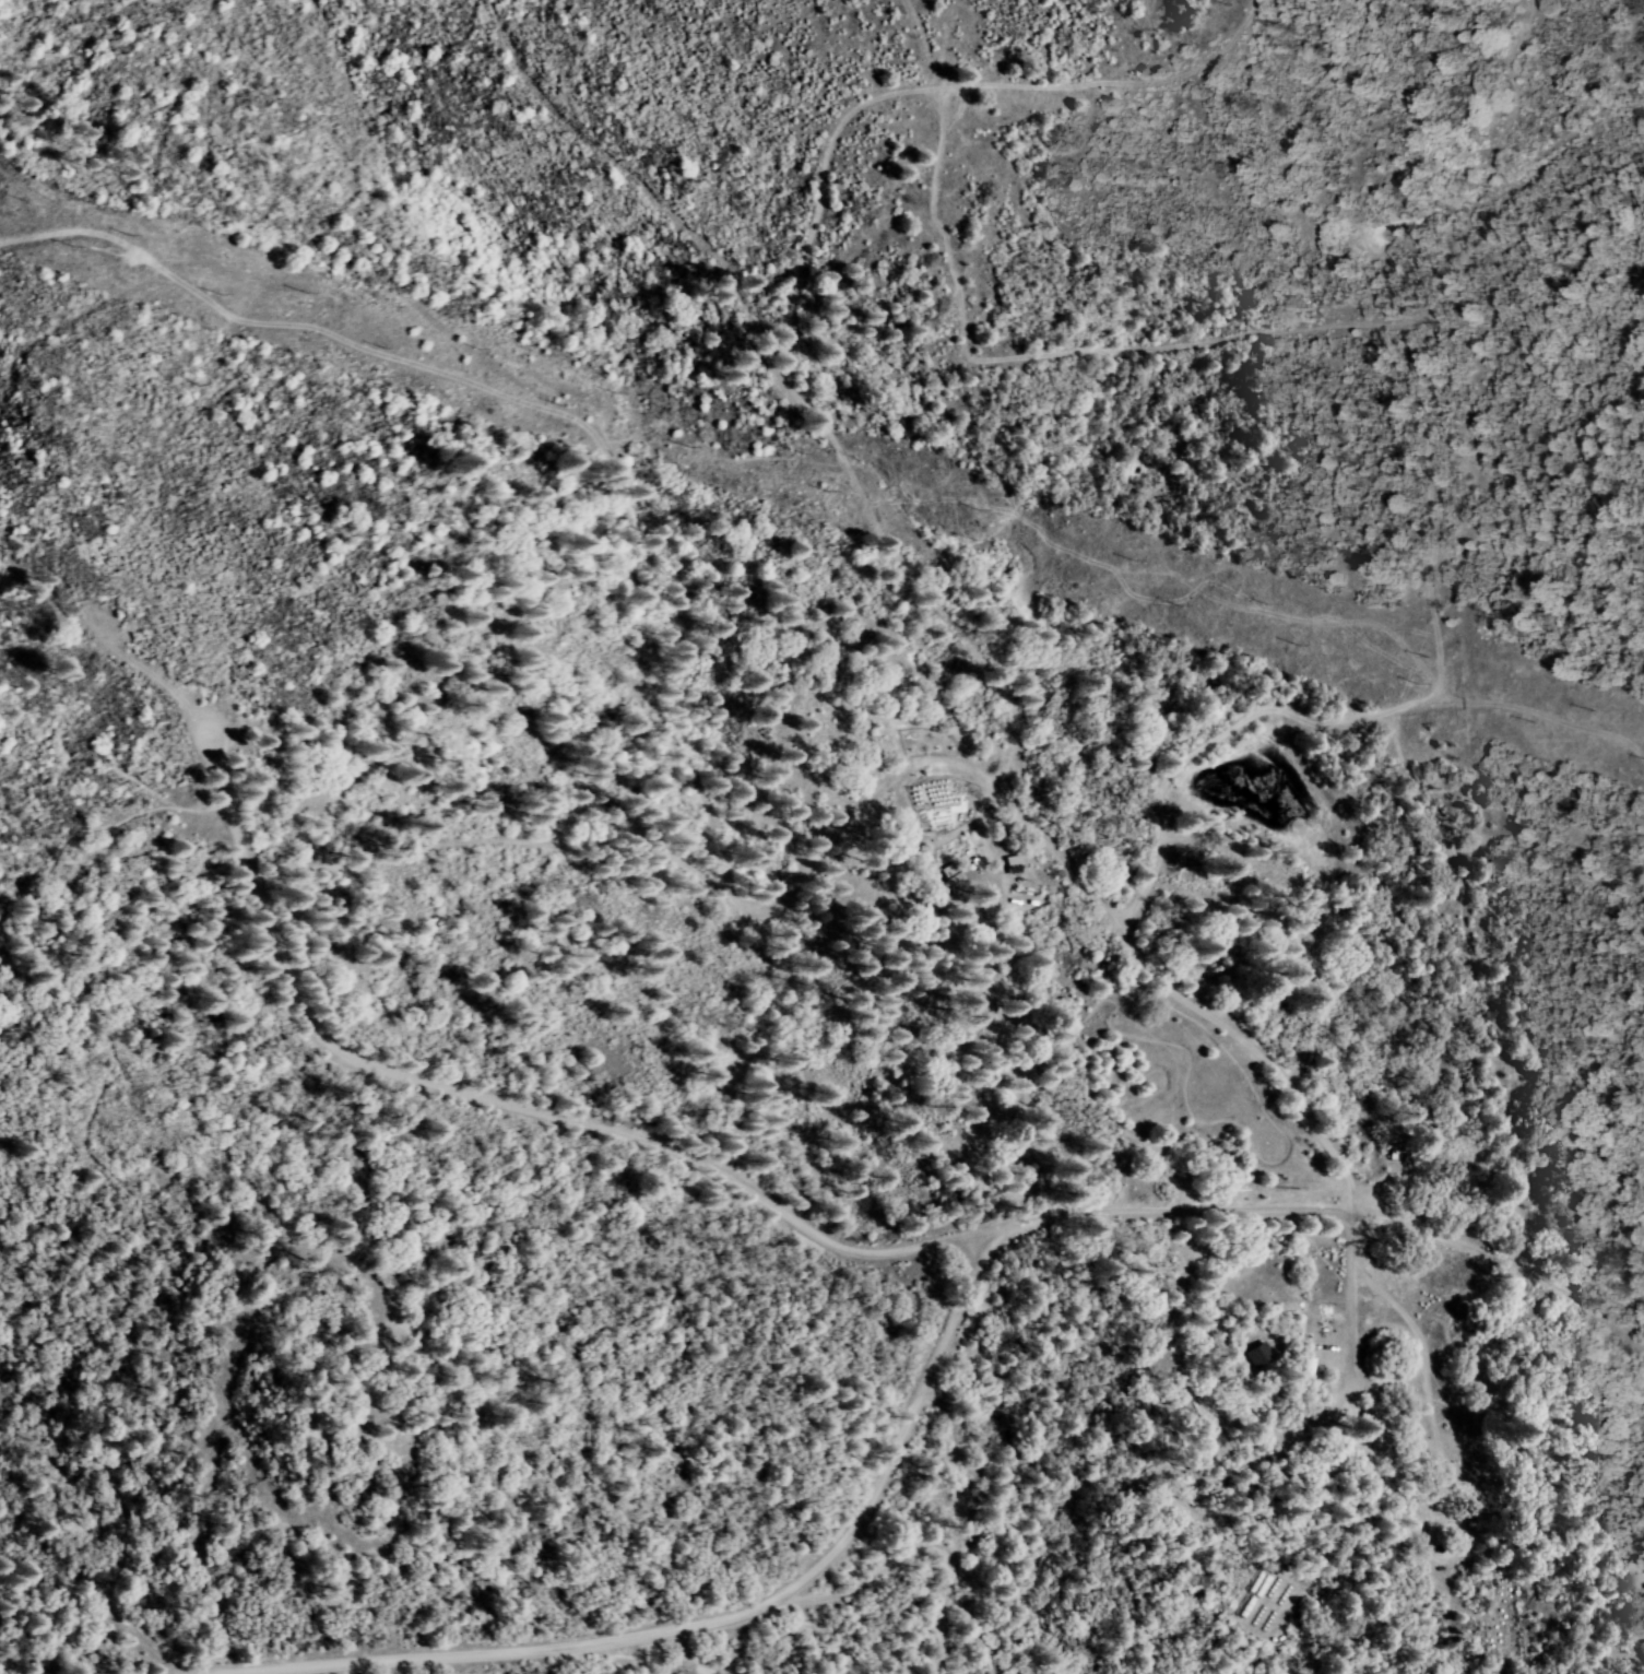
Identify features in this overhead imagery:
road: (362, 220)
building: (950, 875)
road: (1208, 1019)
road: (505, 1107)
road: (1327, 1219)
road: (1347, 1302)
road: (955, 1525)
road: (769, 1618)

